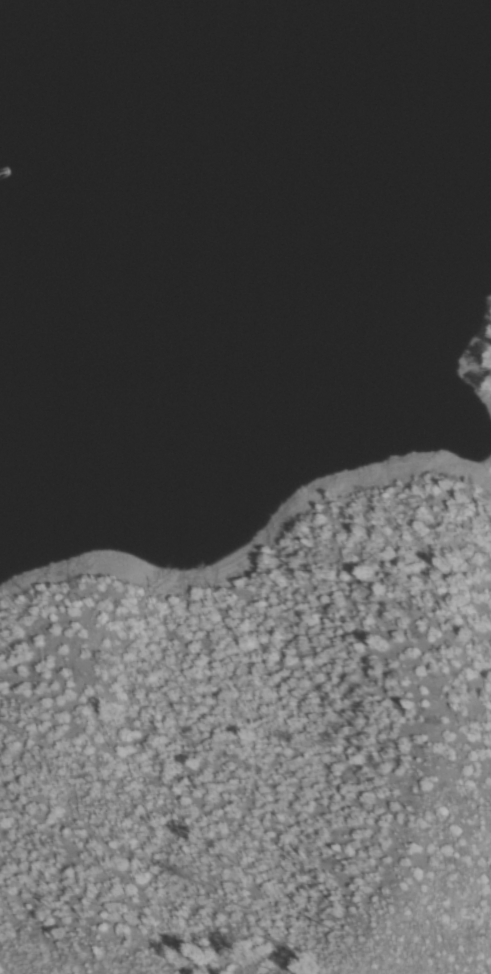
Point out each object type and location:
river: (233, 157)

